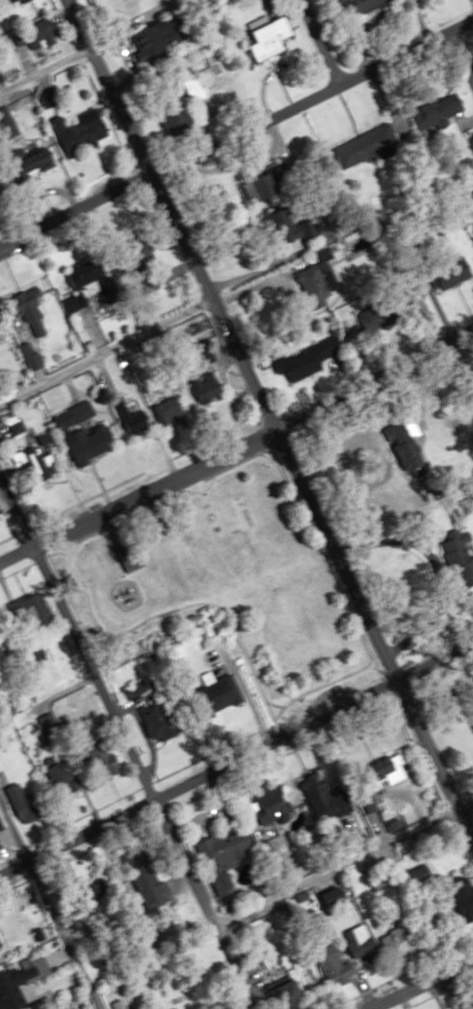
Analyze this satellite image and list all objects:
building: (11, 0)
building: (351, 6)
building: (29, 34)
building: (147, 37)
building: (260, 38)
road: (315, 42)
road: (460, 56)
building: (185, 88)
building: (42, 97)
building: (439, 108)
building: (4, 126)
building: (73, 132)
road: (236, 132)
building: (358, 146)
building: (21, 165)
building: (254, 183)
building: (272, 221)
building: (472, 235)
building: (133, 253)
building: (448, 271)
building: (99, 278)
building: (306, 287)
building: (34, 307)
road: (105, 346)
building: (31, 357)
building: (295, 365)
building: (184, 402)
building: (134, 421)
road: (270, 422)
building: (85, 434)
road: (235, 439)
building: (397, 443)
road: (155, 503)
building: (132, 555)
building: (456, 557)
park: (225, 586)
building: (35, 612)
park: (290, 624)
building: (209, 696)
road: (285, 705)
road: (124, 747)
road: (236, 753)
building: (105, 762)
building: (360, 793)
building: (22, 803)
building: (320, 803)
building: (263, 806)
building: (1, 824)
road: (12, 831)
building: (217, 857)
road: (341, 862)
building: (457, 900)
road: (61, 933)
building: (351, 934)
building: (319, 965)
building: (17, 980)
road: (414, 980)
building: (273, 993)
building: (168, 1008)
building: (459, 1008)

